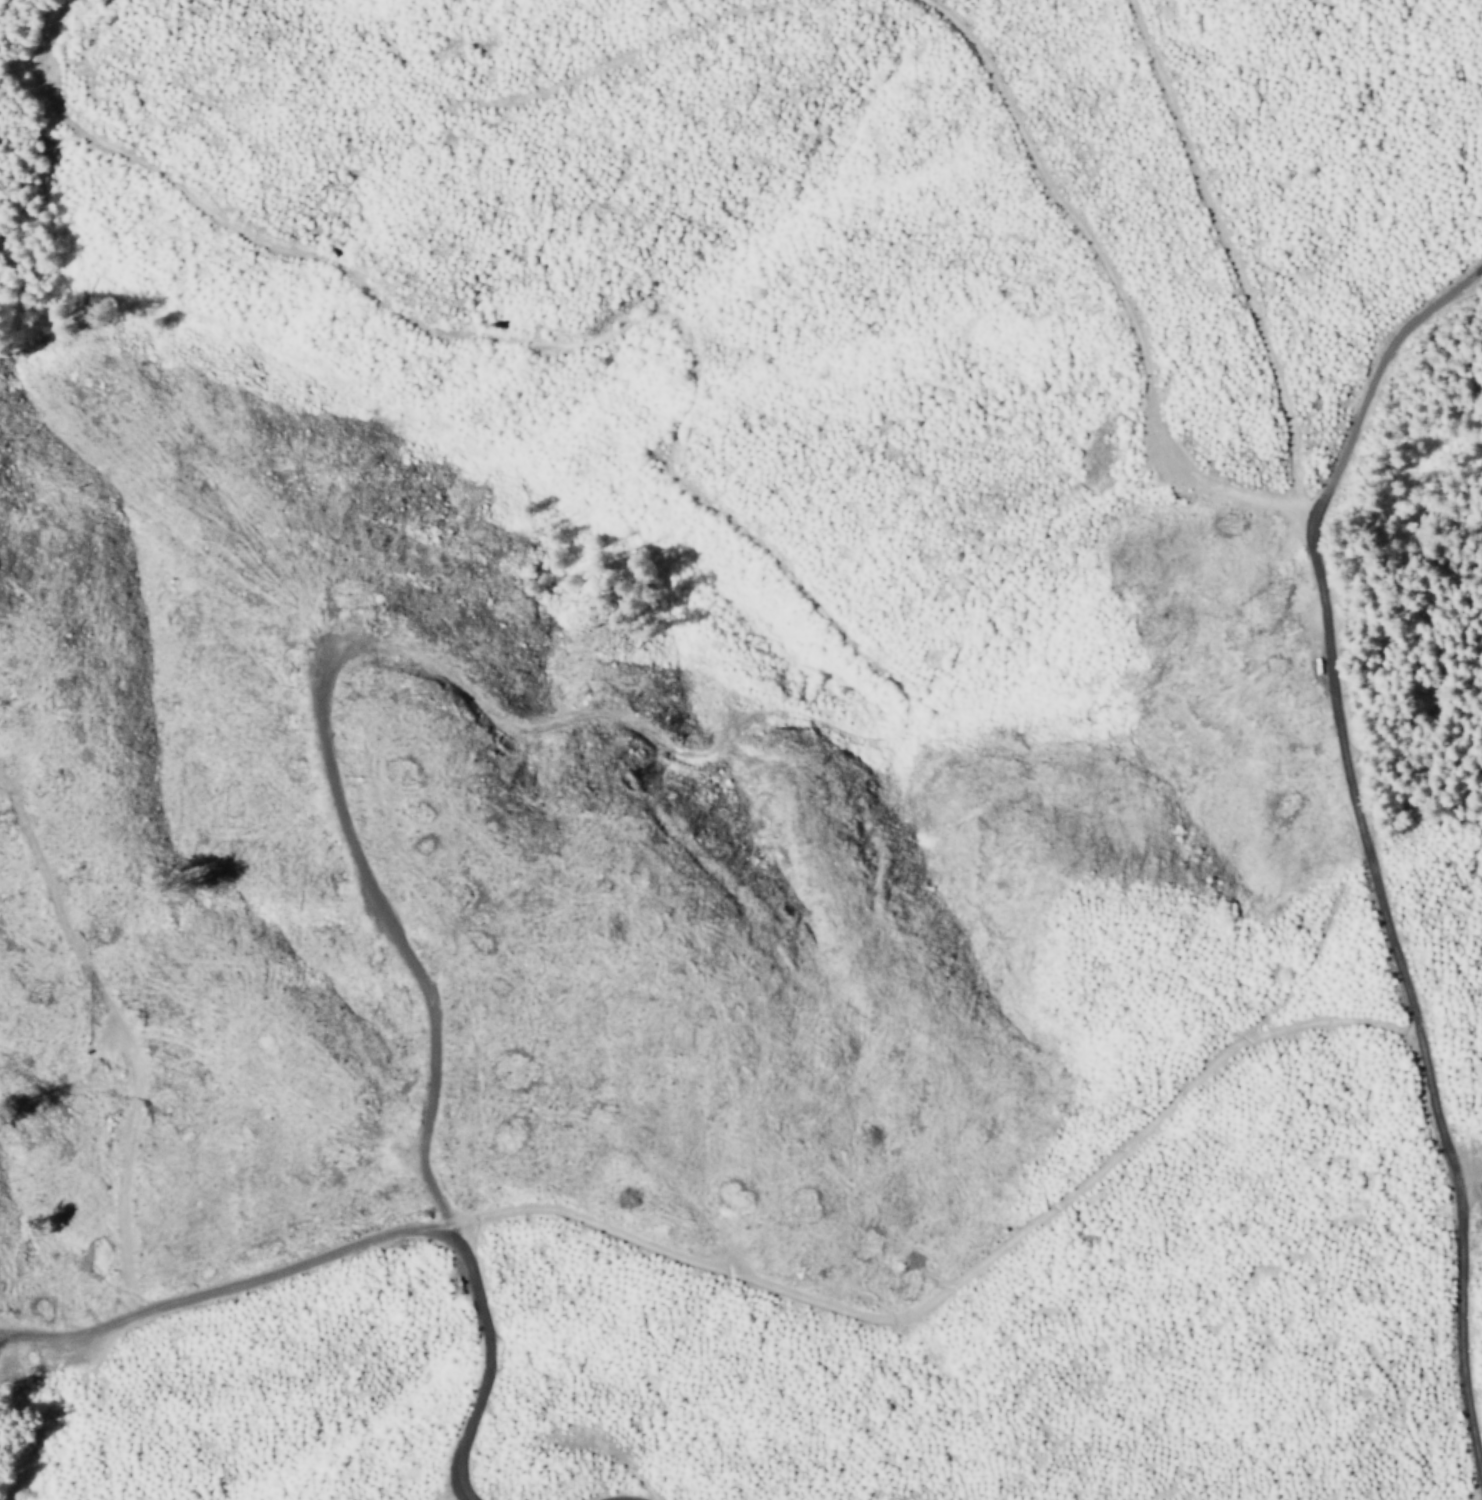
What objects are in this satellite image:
road: (1338, 723)

